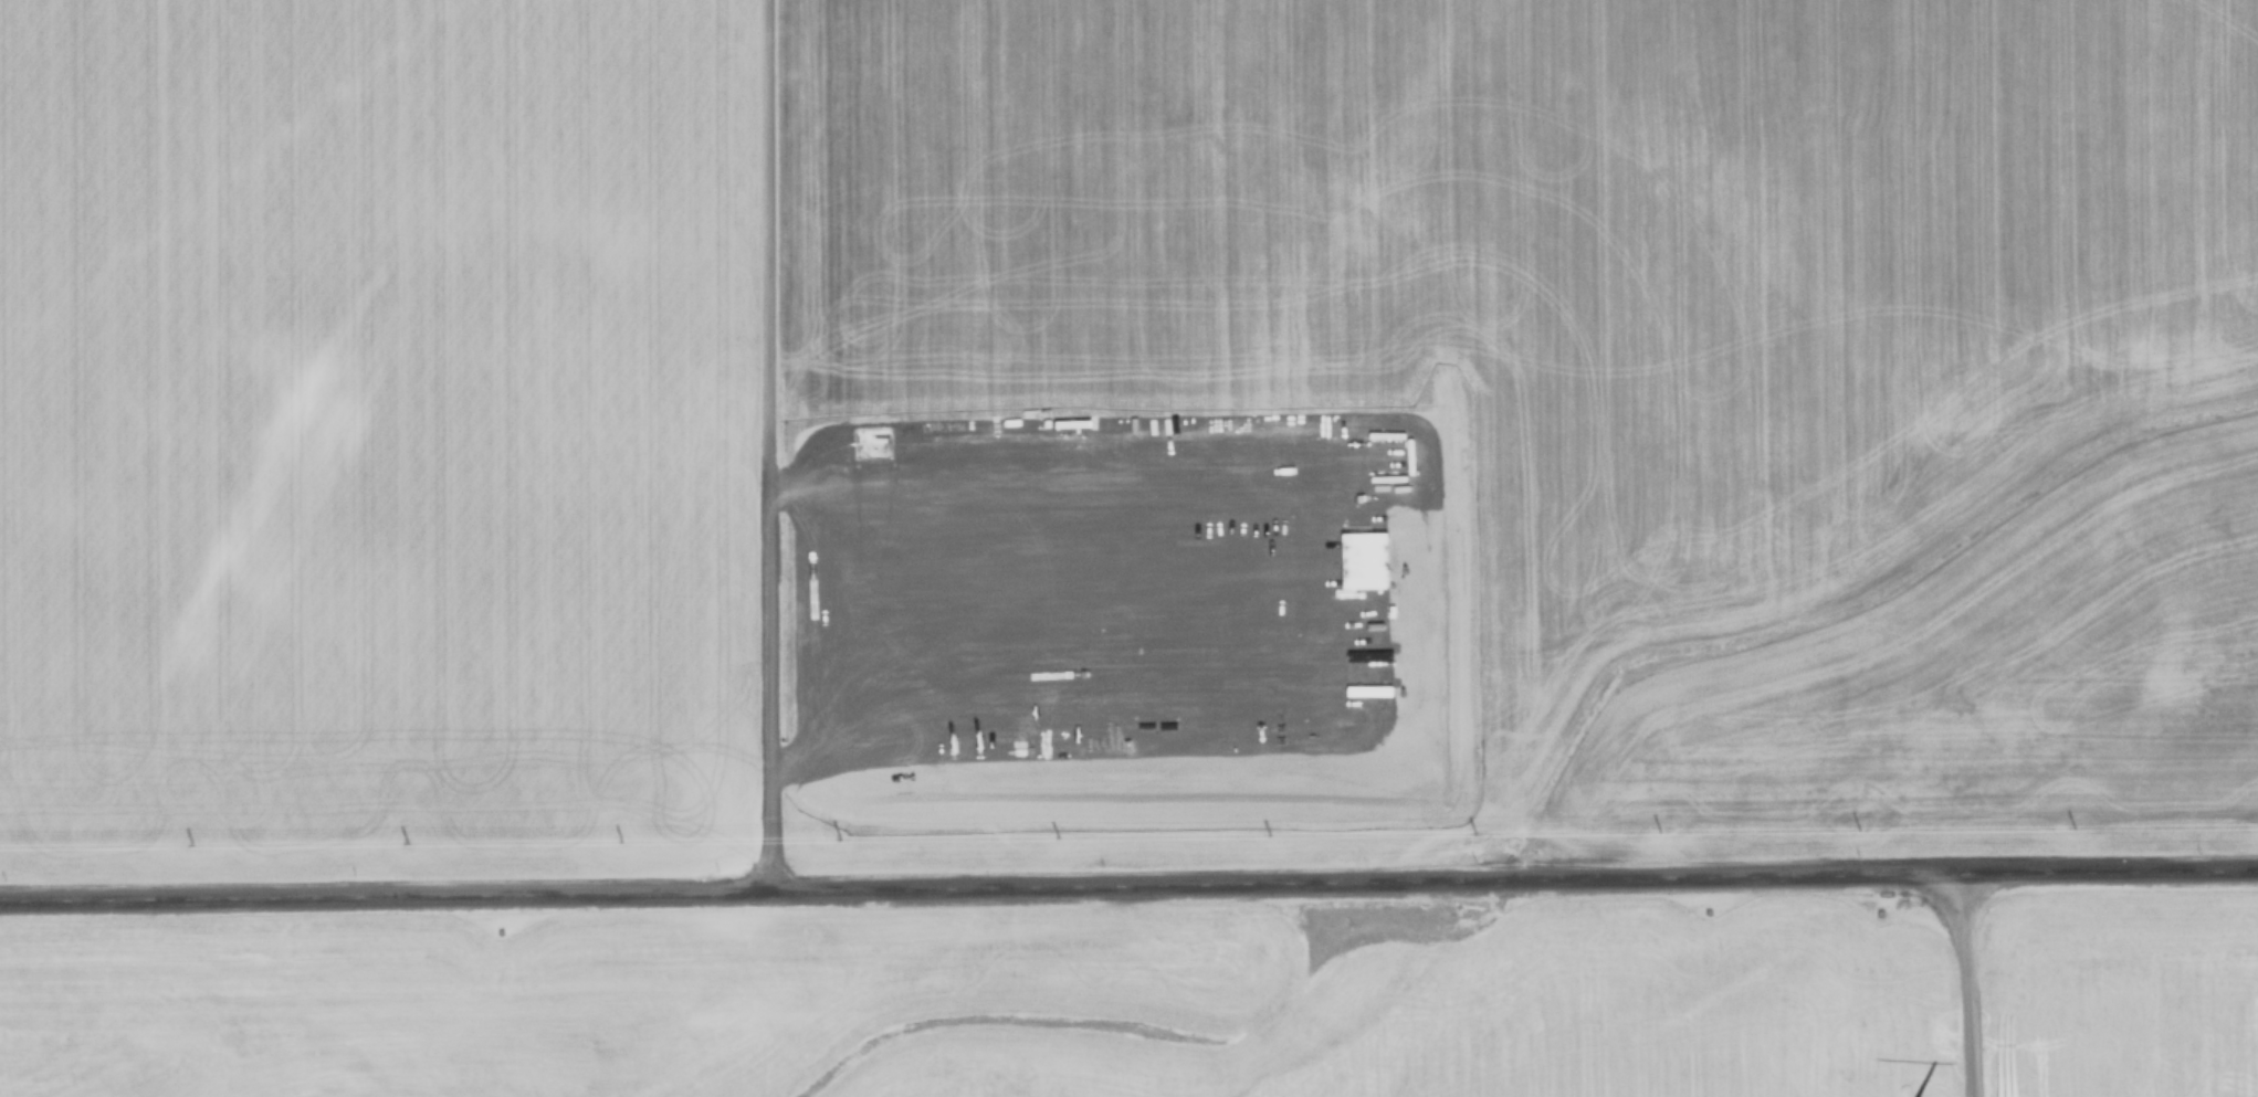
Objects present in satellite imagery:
road: (767, 442)
building: (1364, 560)
road: (1128, 878)
road: (1967, 979)

